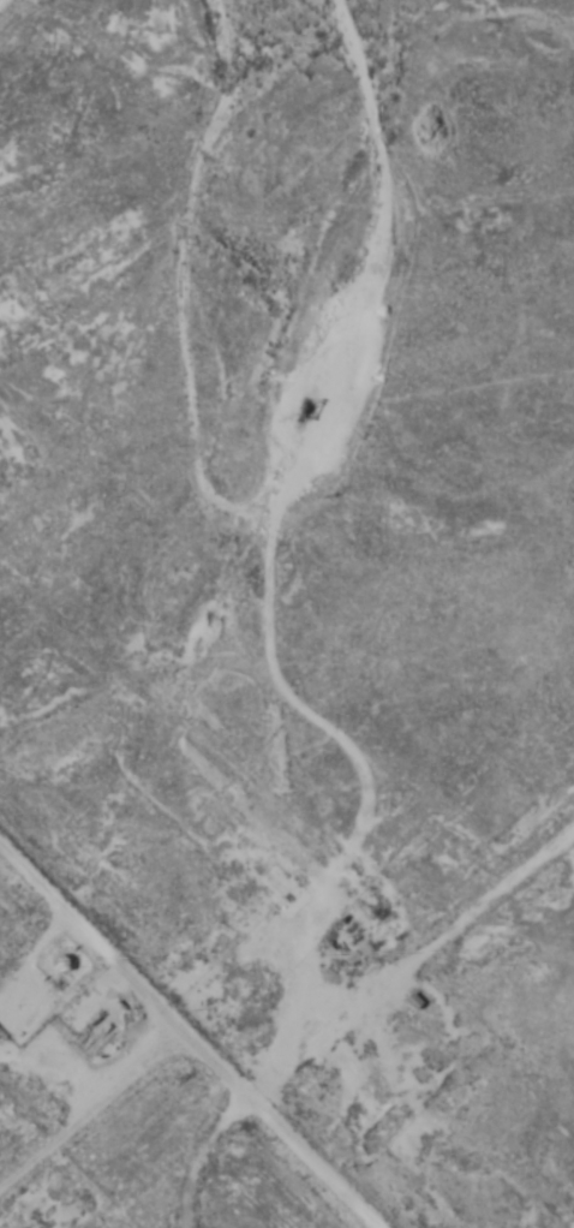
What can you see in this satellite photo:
road: (273, 1091)
road: (137, 1154)
road: (375, 1176)

